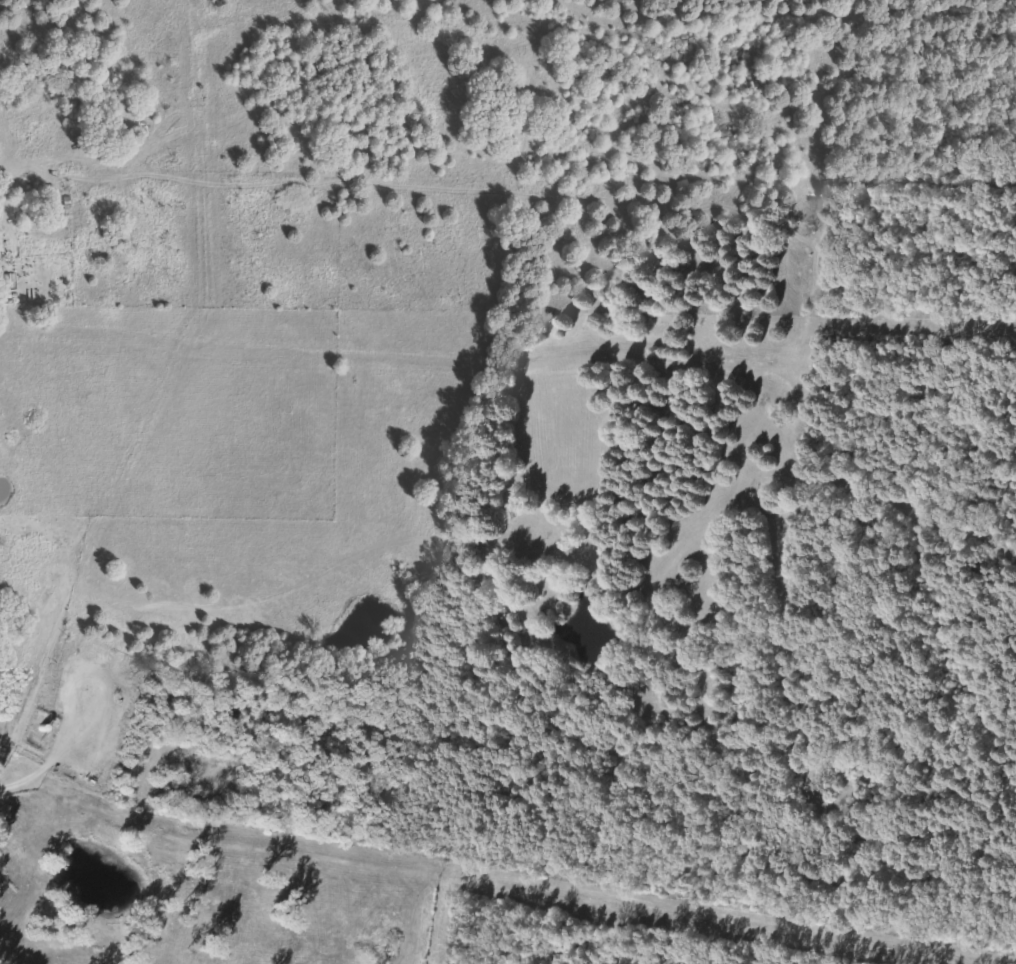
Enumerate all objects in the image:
road: (9, 870)

